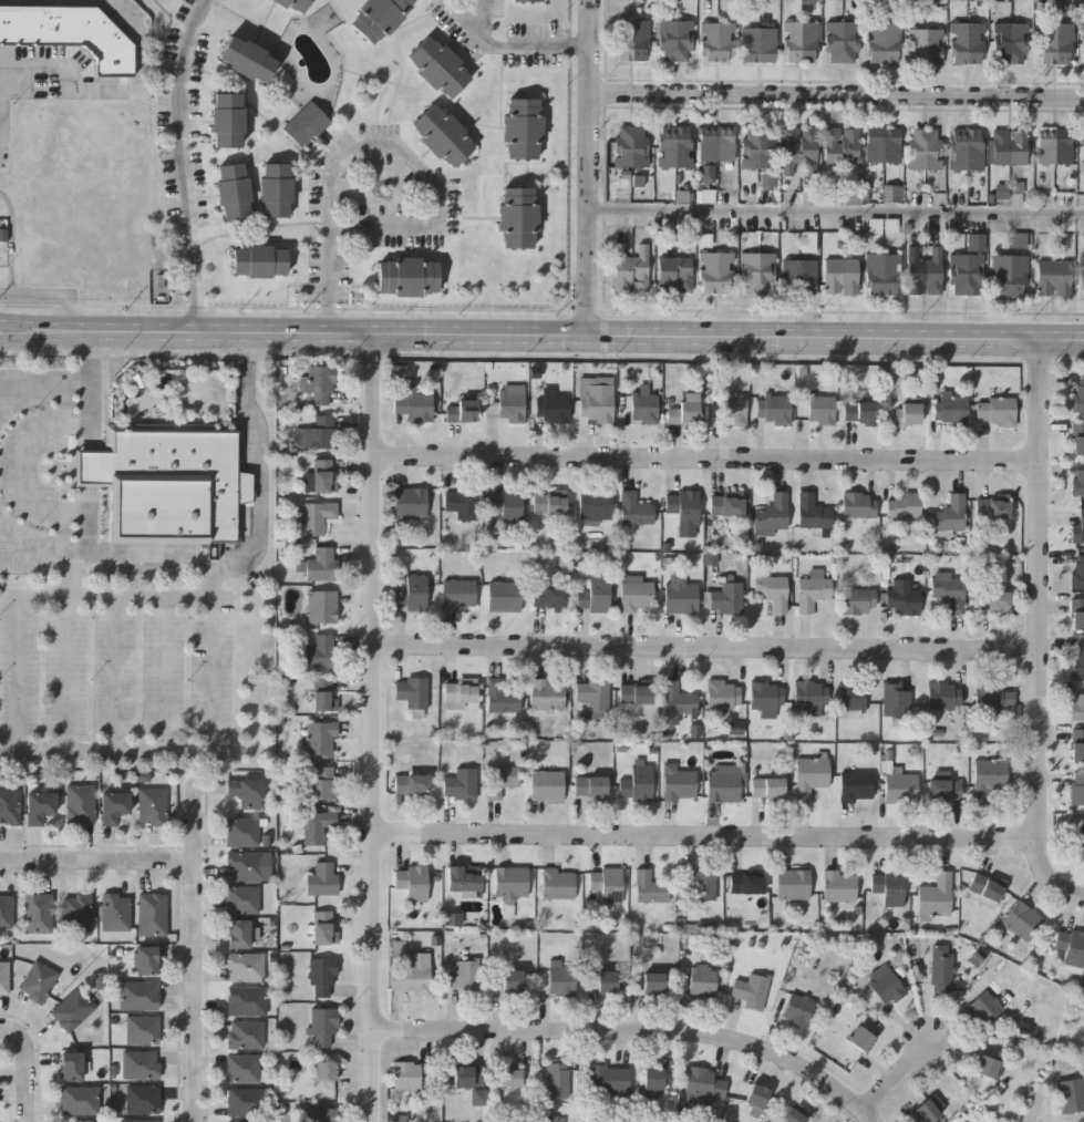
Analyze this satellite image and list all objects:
building: (527, 1)
building: (809, 1)
building: (295, 3)
building: (378, 17)
road: (486, 18)
building: (70, 32)
building: (633, 42)
building: (677, 43)
building: (802, 43)
building: (844, 43)
building: (717, 44)
building: (885, 44)
road: (510, 45)
building: (968, 45)
building: (1011, 45)
building: (1057, 45)
building: (1083, 45)
building: (760, 47)
building: (926, 49)
building: (245, 56)
building: (436, 66)
road: (123, 86)
road: (838, 96)
building: (225, 119)
building: (306, 123)
building: (522, 126)
building: (442, 134)
road: (376, 144)
building: (716, 145)
building: (631, 147)
building: (842, 147)
building: (884, 147)
building: (1054, 147)
building: (675, 148)
building: (1010, 148)
building: (758, 150)
building: (799, 151)
building: (926, 151)
building: (968, 152)
building: (1083, 152)
road: (183, 164)
road: (591, 166)
building: (708, 174)
building: (275, 187)
building: (231, 188)
building: (1003, 192)
building: (894, 194)
road: (837, 209)
building: (517, 216)
building: (978, 243)
building: (259, 260)
building: (631, 271)
building: (925, 272)
building: (716, 274)
building: (406, 275)
building: (758, 275)
building: (675, 276)
building: (842, 276)
building: (882, 276)
building: (967, 276)
building: (1010, 277)
building: (1082, 278)
building: (799, 279)
building: (1054, 280)
road: (49, 295)
road: (47, 321)
road: (588, 333)
road: (47, 340)
building: (318, 382)
road: (43, 383)
road: (92, 389)
building: (1077, 394)
building: (596, 401)
building: (506, 402)
building: (411, 403)
building: (550, 405)
building: (643, 406)
building: (732, 406)
building: (772, 406)
building: (683, 408)
building: (820, 408)
building: (950, 408)
building: (461, 409)
building: (995, 409)
building: (859, 410)
building: (907, 411)
building: (318, 431)
building: (1077, 436)
parking lot: (35, 456)
road: (709, 459)
road: (257, 466)
road: (92, 467)
road: (12, 470)
building: (323, 474)
building: (1077, 480)
building: (166, 487)
building: (410, 501)
building: (461, 502)
building: (547, 503)
building: (593, 503)
building: (726, 504)
building: (858, 504)
building: (902, 504)
building: (681, 505)
building: (506, 506)
building: (634, 509)
building: (812, 511)
building: (994, 512)
building: (314, 514)
building: (771, 514)
building: (949, 514)
road: (92, 521)
building: (1077, 527)
road: (106, 556)
building: (319, 563)
building: (1077, 570)
road: (1042, 588)
building: (771, 590)
building: (948, 590)
building: (411, 591)
building: (457, 591)
building: (812, 591)
building: (592, 594)
building: (636, 594)
building: (503, 595)
building: (548, 596)
building: (726, 596)
building: (901, 596)
building: (680, 597)
building: (857, 600)
building: (991, 600)
building: (321, 605)
building: (1077, 618)
road: (709, 649)
building: (320, 650)
road: (68, 655)
building: (1077, 657)
parking lot: (117, 675)
road: (118, 676)
road: (164, 677)
building: (411, 690)
building: (458, 691)
building: (546, 692)
building: (591, 692)
building: (634, 692)
building: (323, 693)
building: (503, 693)
building: (722, 693)
building: (942, 693)
building: (809, 694)
building: (993, 697)
building: (678, 698)
building: (766, 698)
building: (850, 698)
building: (895, 698)
building: (1077, 706)
road: (375, 727)
building: (737, 729)
building: (314, 735)
building: (1077, 750)
road: (37, 753)
building: (809, 773)
building: (145, 778)
building: (988, 778)
building: (499, 779)
building: (320, 781)
building: (460, 781)
building: (723, 781)
building: (636, 782)
building: (679, 783)
building: (410, 784)
building: (546, 784)
building: (589, 785)
building: (856, 785)
building: (767, 786)
building: (900, 786)
building: (1076, 786)
building: (944, 789)
building: (244, 791)
building: (79, 803)
building: (113, 805)
building: (151, 805)
building: (9, 806)
building: (38, 806)
building: (316, 824)
building: (240, 831)
road: (708, 837)
building: (1078, 841)
road: (96, 863)
building: (247, 865)
building: (321, 877)
road: (1050, 877)
building: (411, 881)
building: (463, 881)
building: (510, 882)
building: (699, 882)
building: (605, 883)
building: (746, 883)
building: (793, 883)
building: (555, 885)
building: (839, 885)
building: (888, 885)
building: (648, 886)
building: (985, 887)
building: (936, 895)
building: (240, 898)
building: (6, 910)
building: (75, 910)
building: (114, 910)
building: (37, 912)
building: (151, 913)
building: (454, 919)
building: (1021, 919)
building: (322, 926)
building: (237, 933)
road: (196, 947)
building: (1071, 948)
building: (145, 959)
building: (244, 965)
building: (940, 969)
building: (410, 971)
building: (320, 975)
building: (467, 975)
building: (3, 977)
building: (559, 978)
building: (510, 979)
building: (701, 980)
building: (37, 981)
building: (606, 981)
building: (884, 982)
building: (652, 984)
building: (749, 989)
building: (137, 994)
building: (245, 999)
building: (985, 1002)
building: (71, 1008)
building: (796, 1008)
building: (321, 1025)
building: (142, 1029)
road: (637, 1031)
building: (244, 1033)
building: (861, 1038)
building: (70, 1064)
building: (140, 1064)
building: (988, 1066)
road: (29, 1067)
building: (241, 1068)
building: (323, 1069)
building: (468, 1073)
building: (405, 1074)
building: (508, 1077)
road: (898, 1078)
building: (556, 1079)
building: (608, 1079)
building: (651, 1080)
building: (703, 1083)
building: (1071, 1093)
building: (478, 1097)
building: (754, 1098)
building: (78, 1099)
building: (142, 1099)
building: (244, 1101)
building: (930, 1110)
building: (319, 1114)
building: (792, 1114)
building: (81, 1121)
building: (137, 1121)
building: (254, 1121)

